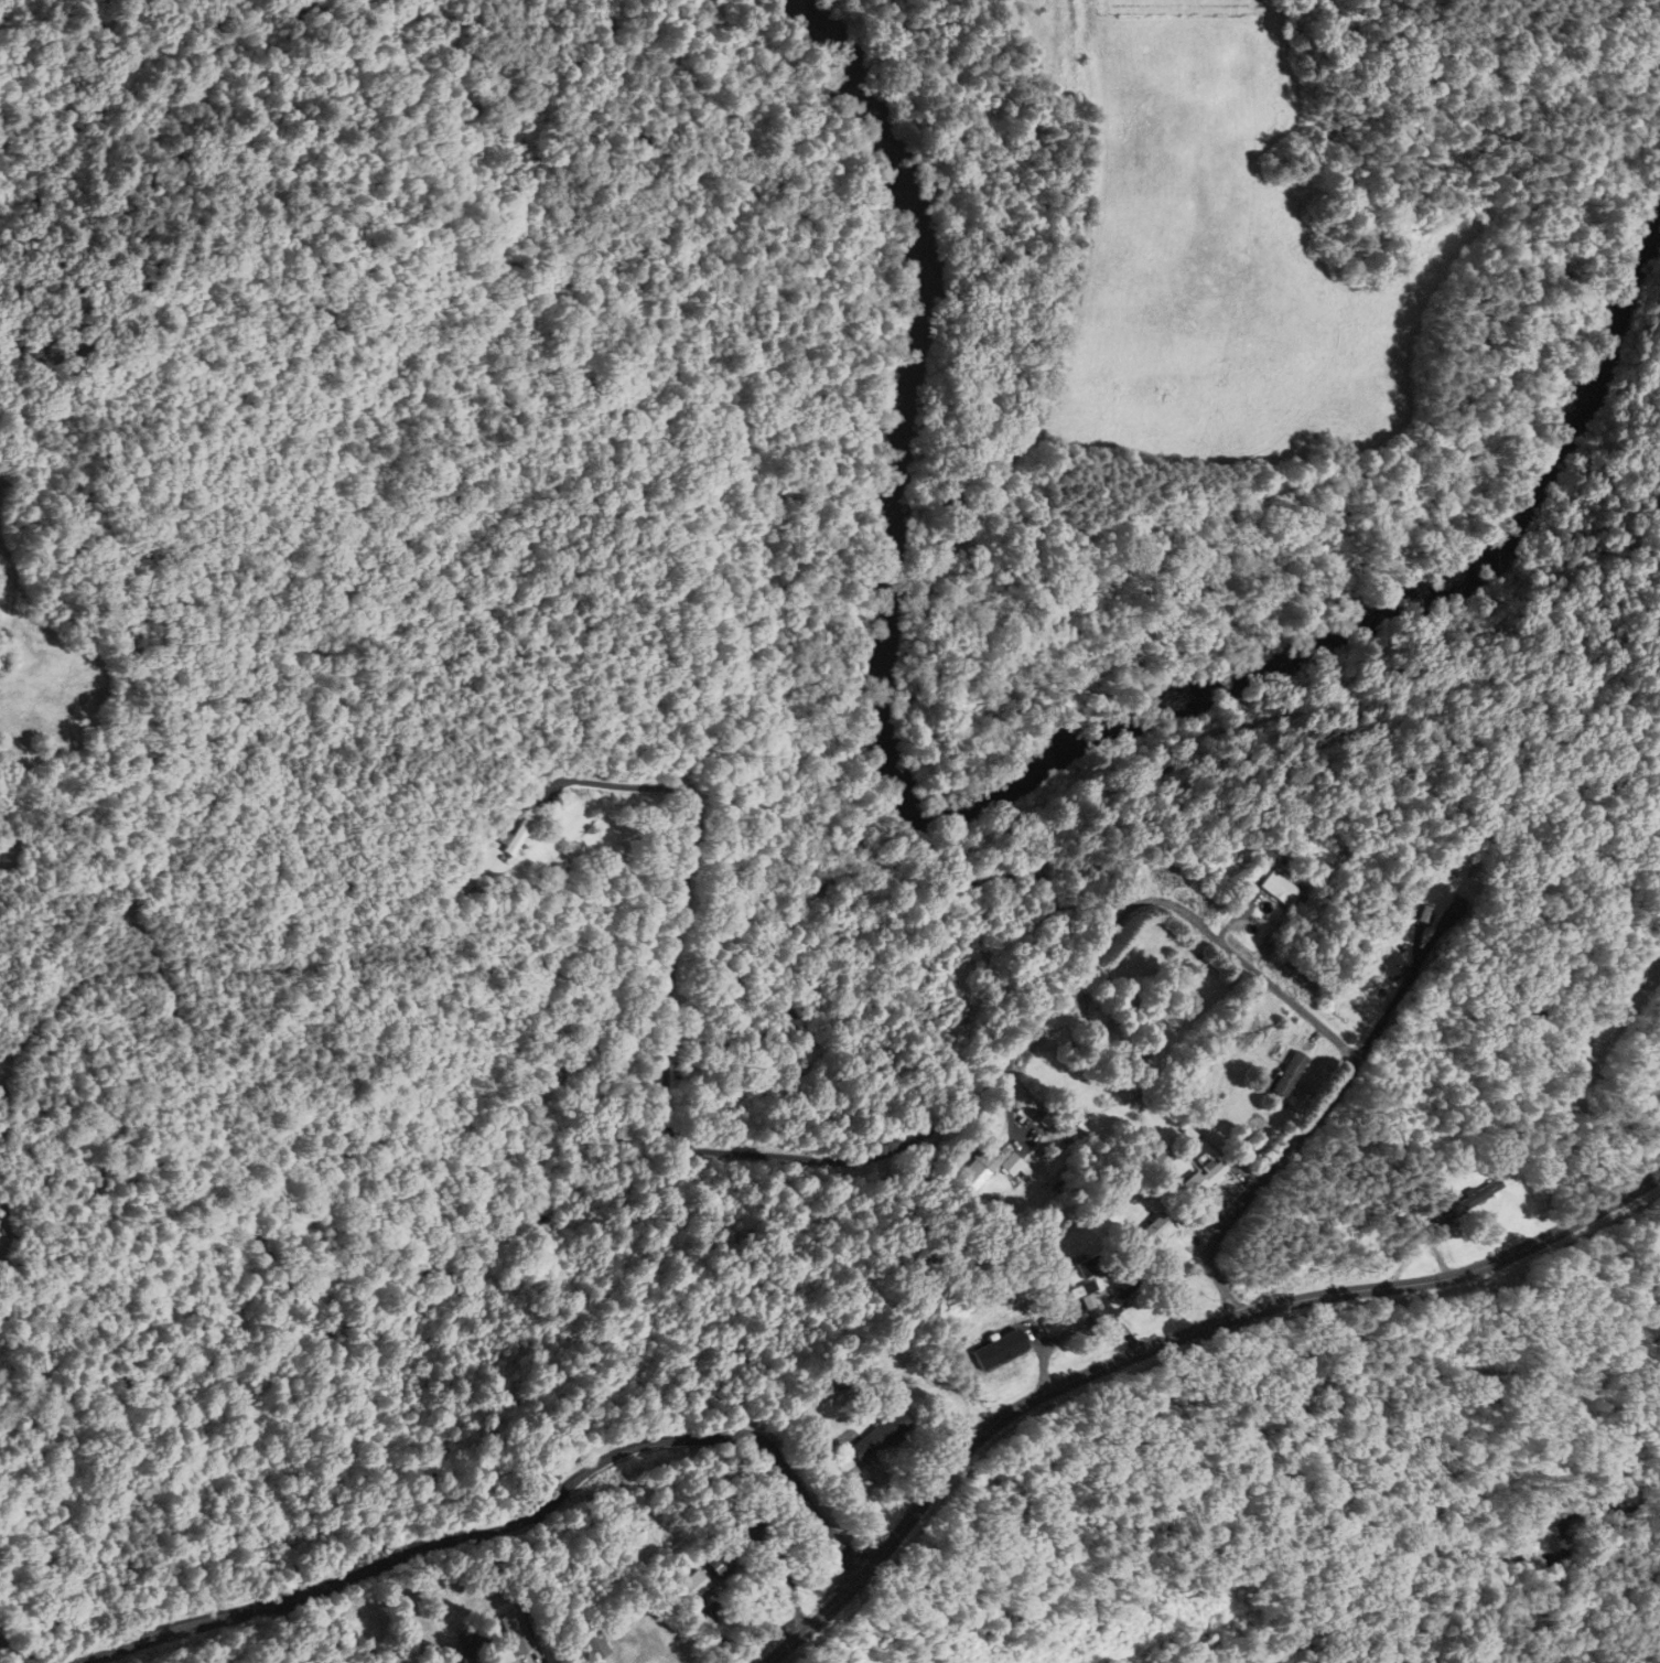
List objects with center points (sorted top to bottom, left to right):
building: (608, 22)
river: (990, 801)
building: (518, 836)
building: (1280, 889)
road: (1092, 954)
building: (1389, 964)
building: (944, 1013)
road: (1308, 1015)
road: (1002, 1073)
building: (1285, 1073)
building: (1155, 1163)
building: (980, 1169)
building: (1203, 1176)
building: (1478, 1194)
building: (1153, 1229)
building: (1092, 1265)
building: (1085, 1294)
road: (1168, 1341)
building: (882, 1435)
building: (725, 1528)
road: (504, 1530)
building: (718, 1564)
road: (786, 1576)
building: (691, 1587)
building: (515, 1632)
building: (477, 1639)
building: (590, 1646)
road: (19, 1654)

